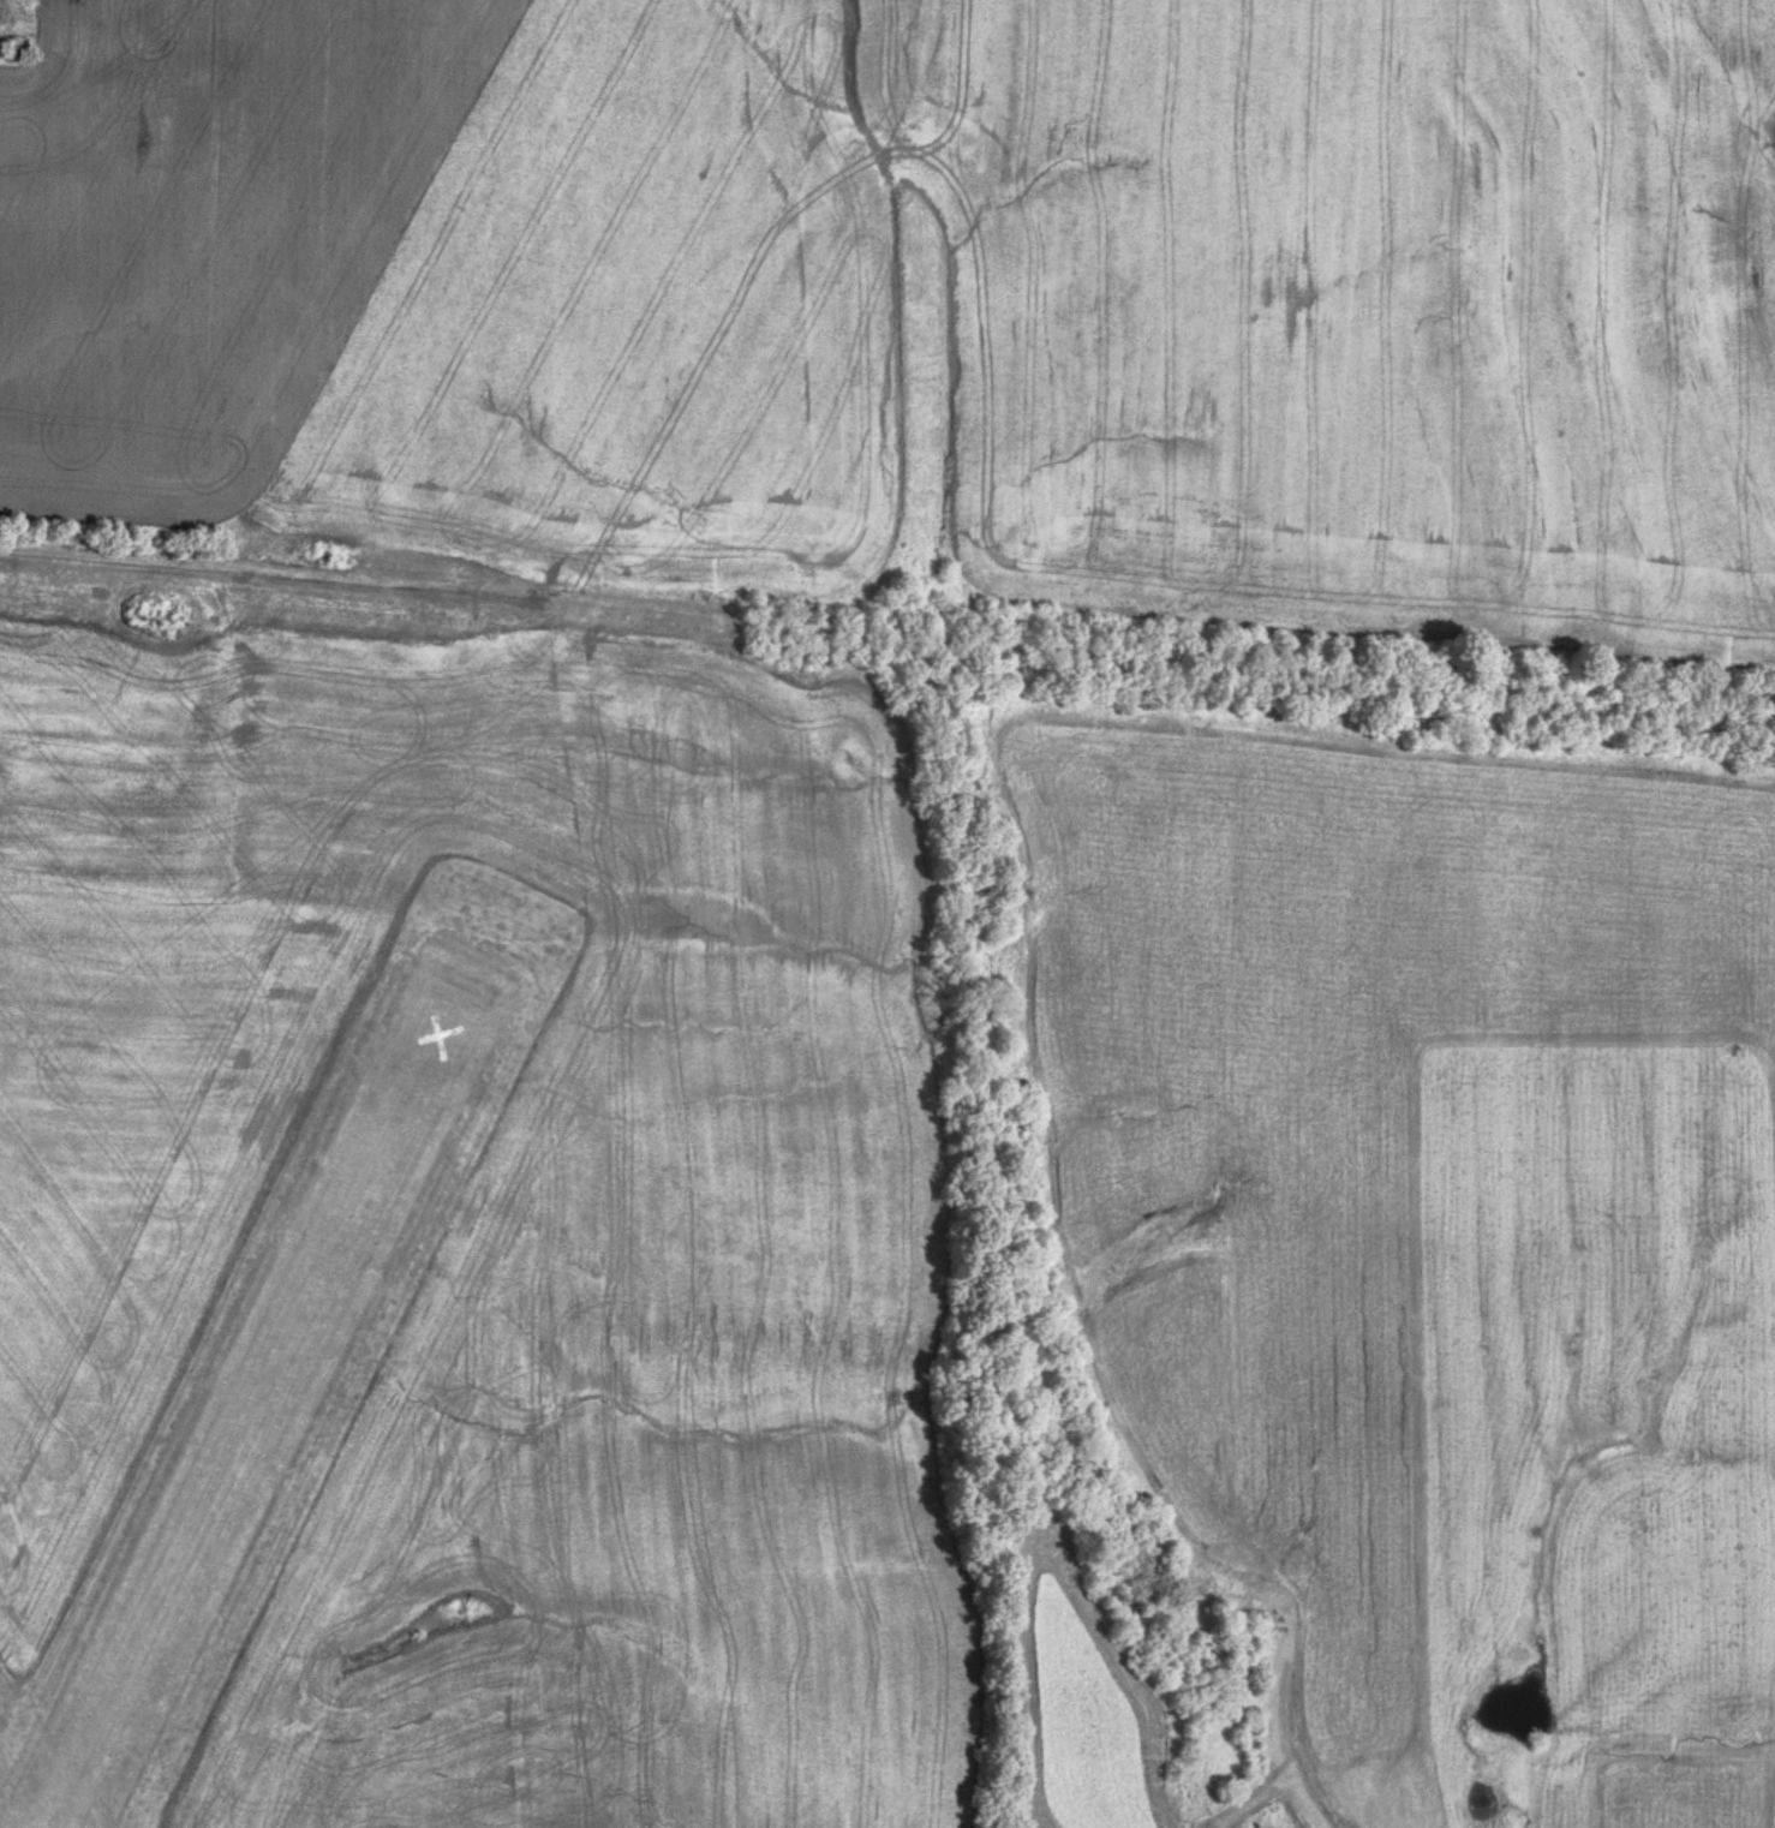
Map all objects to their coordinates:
building: (13, 46)
airport: (293, 1348)
airport runway: (264, 1399)

